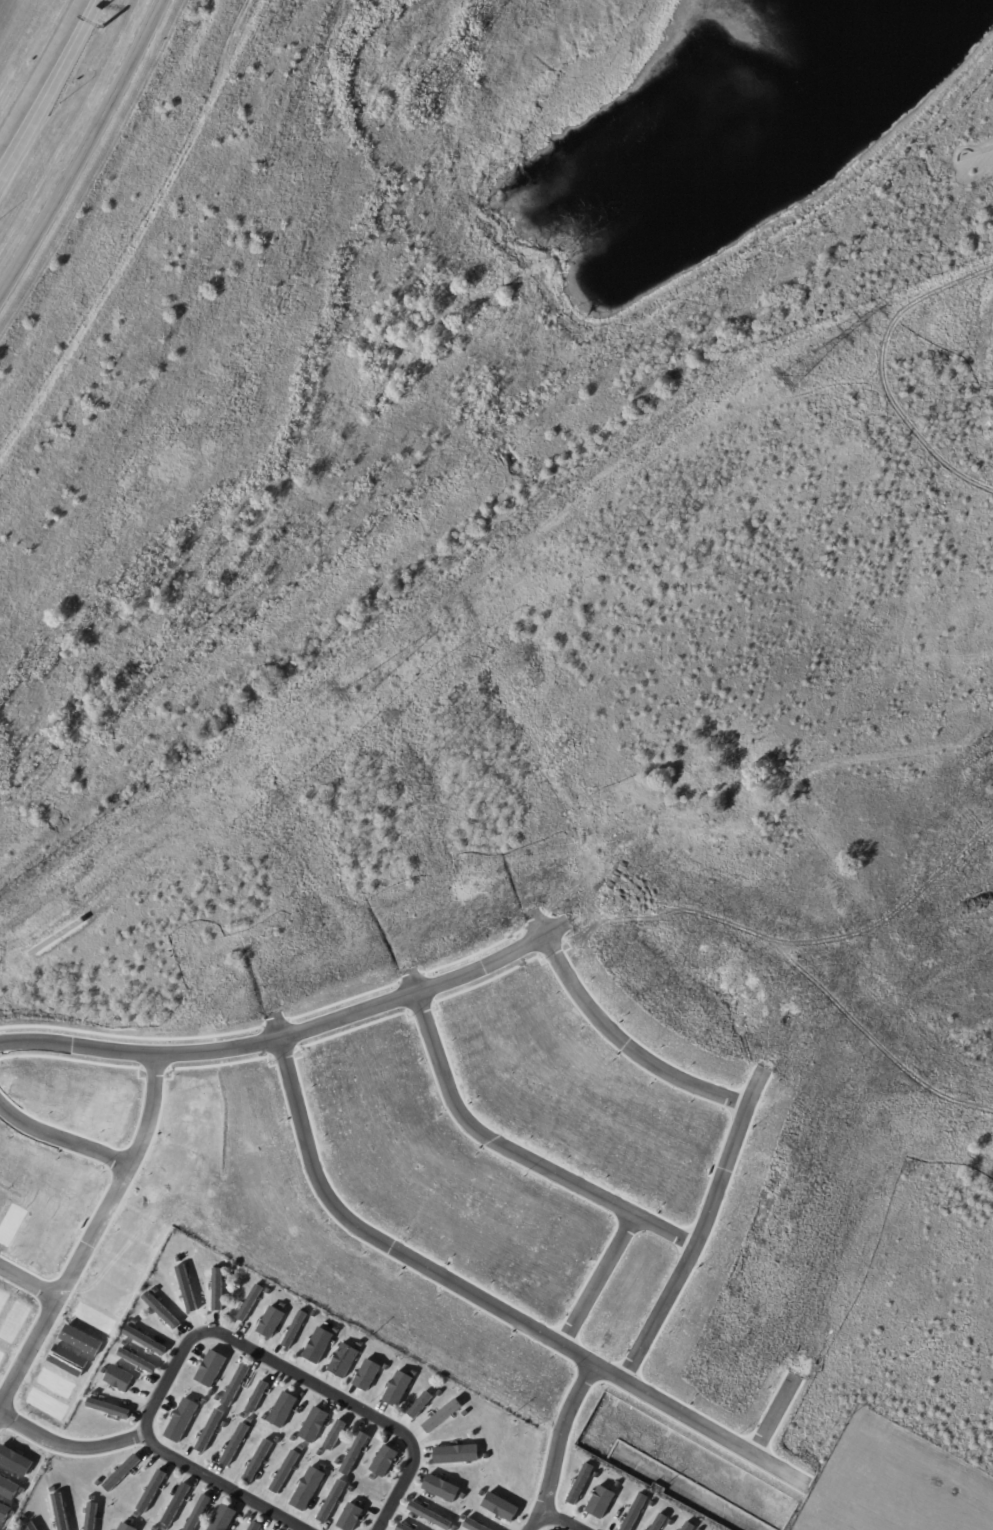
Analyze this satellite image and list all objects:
road: (41, 72)
road: (49, 91)
road: (979, 149)
road: (85, 150)
park: (411, 317)
power tower: (798, 382)
power tower: (364, 695)
building: (738, 770)
building: (705, 808)
building: (684, 809)
building: (625, 812)
road: (282, 1035)
road: (631, 1041)
road: (64, 1134)
road: (525, 1151)
building: (990, 1168)
road: (710, 1223)
road: (96, 1236)
road: (33, 1274)
road: (603, 1276)
building: (216, 1289)
road: (497, 1298)
building: (160, 1310)
building: (270, 1322)
building: (293, 1329)
road: (221, 1338)
building: (144, 1340)
building: (317, 1345)
building: (136, 1360)
building: (342, 1360)
building: (210, 1368)
building: (366, 1374)
building: (118, 1378)
building: (234, 1385)
building: (396, 1388)
building: (256, 1396)
building: (419, 1404)
building: (107, 1408)
building: (282, 1409)
road: (780, 1412)
building: (441, 1415)
building: (180, 1420)
building: (313, 1425)
building: (208, 1430)
road: (567, 1433)
building: (334, 1434)
road: (70, 1440)
building: (110, 1440)
building: (234, 1444)
building: (353, 1453)
building: (455, 1454)
building: (257, 1460)
building: (383, 1461)
building: (284, 1471)
building: (121, 1472)
building: (579, 1483)
building: (306, 1488)
building: (440, 1488)
building: (150, 1491)
building: (331, 1501)
building: (600, 1502)
building: (500, 1507)
building: (59, 1511)
building: (634, 1512)
building: (429, 1515)
building: (90, 1516)
building: (349, 1517)
building: (222, 1518)
road: (563, 1518)
building: (657, 1522)
building: (253, 1525)
building: (30, 1526)
building: (473, 1526)
building: (685, 1526)
building: (125, 1527)

